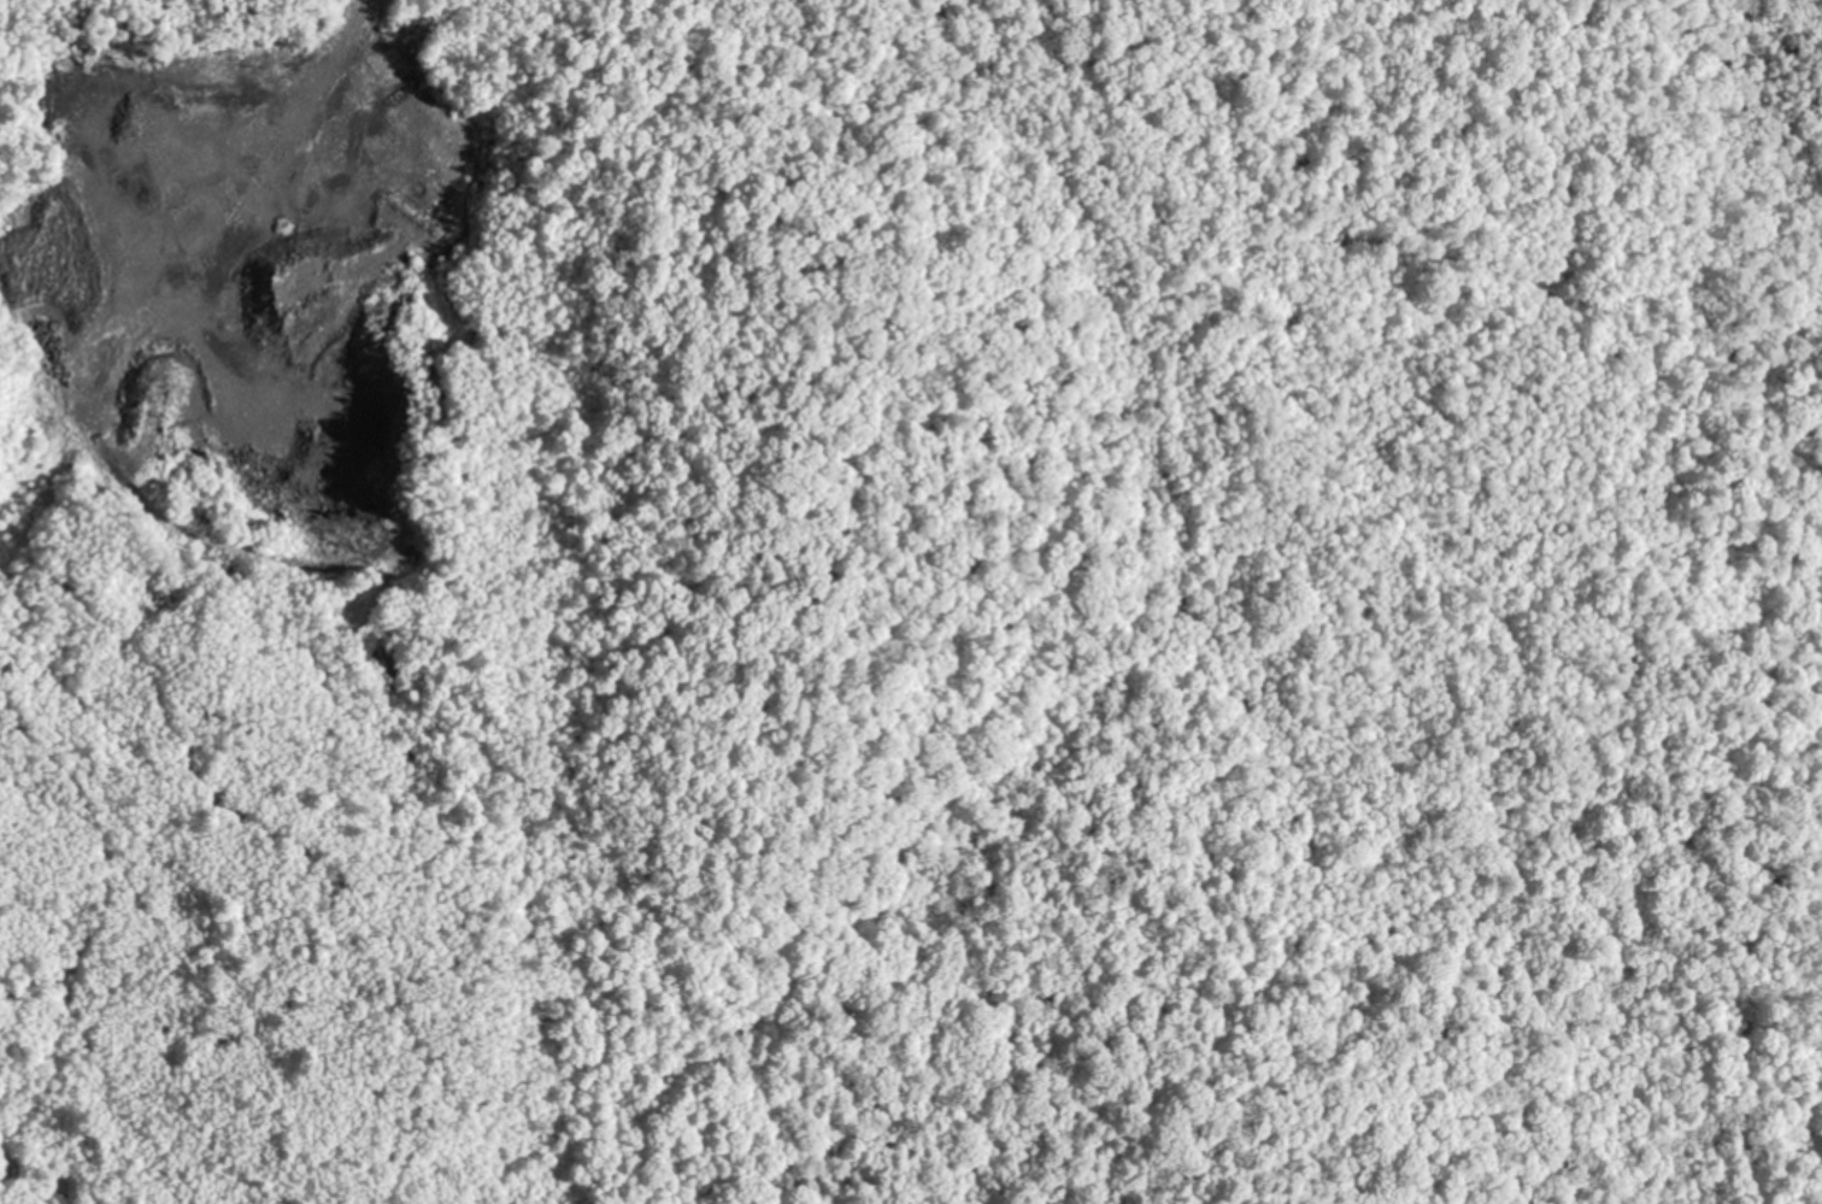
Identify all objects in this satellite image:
quarry: (265, 607)

